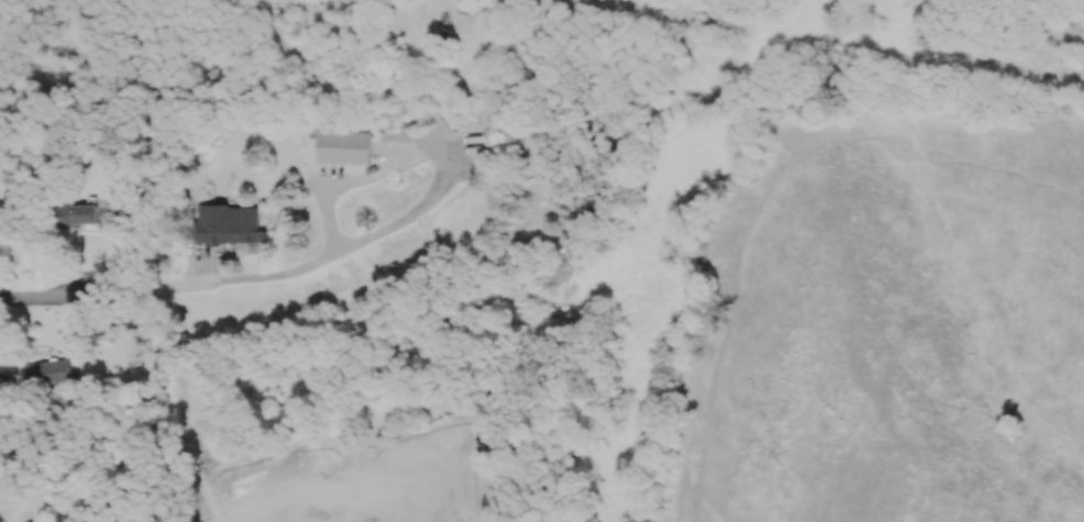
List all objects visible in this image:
building: (343, 146)
road: (374, 169)
building: (78, 213)
building: (229, 224)
road: (232, 285)
building: (47, 371)

